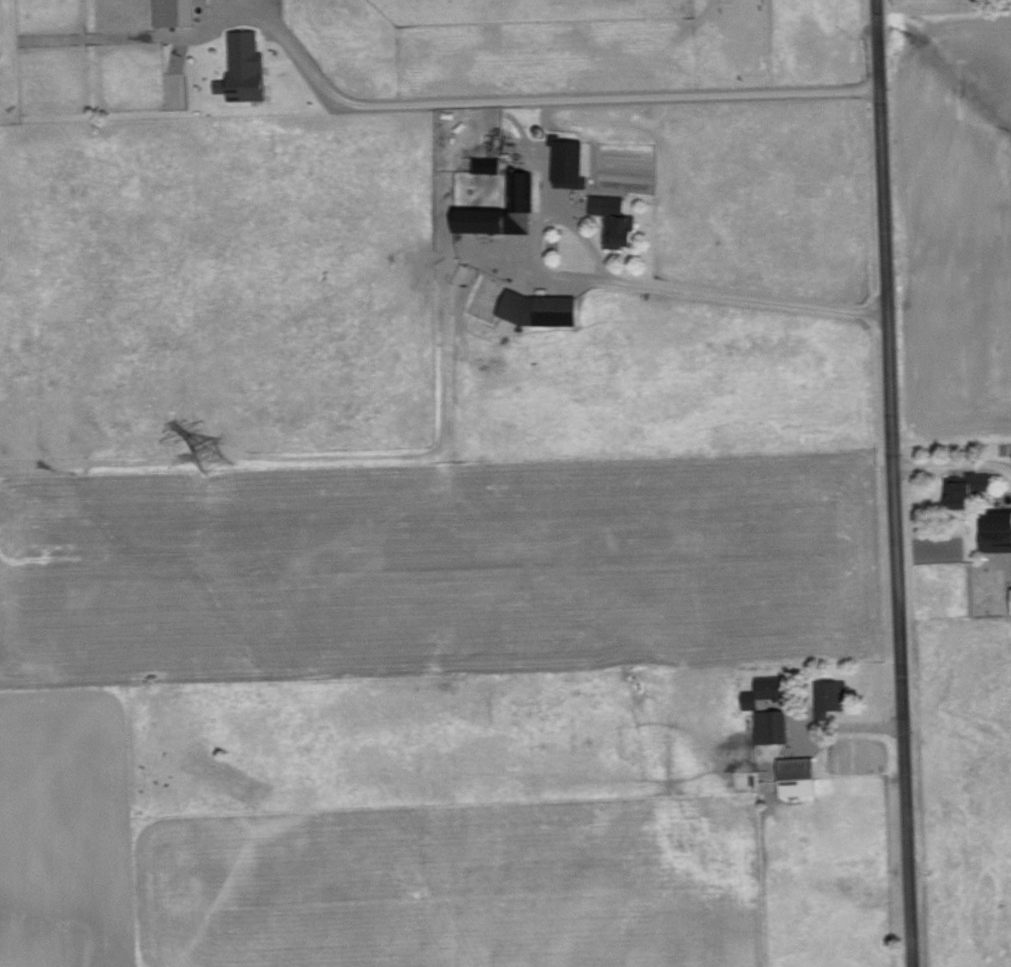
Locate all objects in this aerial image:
building: (178, 12)
building: (246, 69)
road: (534, 100)
building: (501, 213)
building: (615, 221)
road: (643, 284)
building: (541, 309)
power tower: (210, 439)
road: (954, 463)
road: (896, 483)
building: (966, 488)
building: (768, 690)
building: (832, 697)
building: (771, 726)
building: (798, 776)

